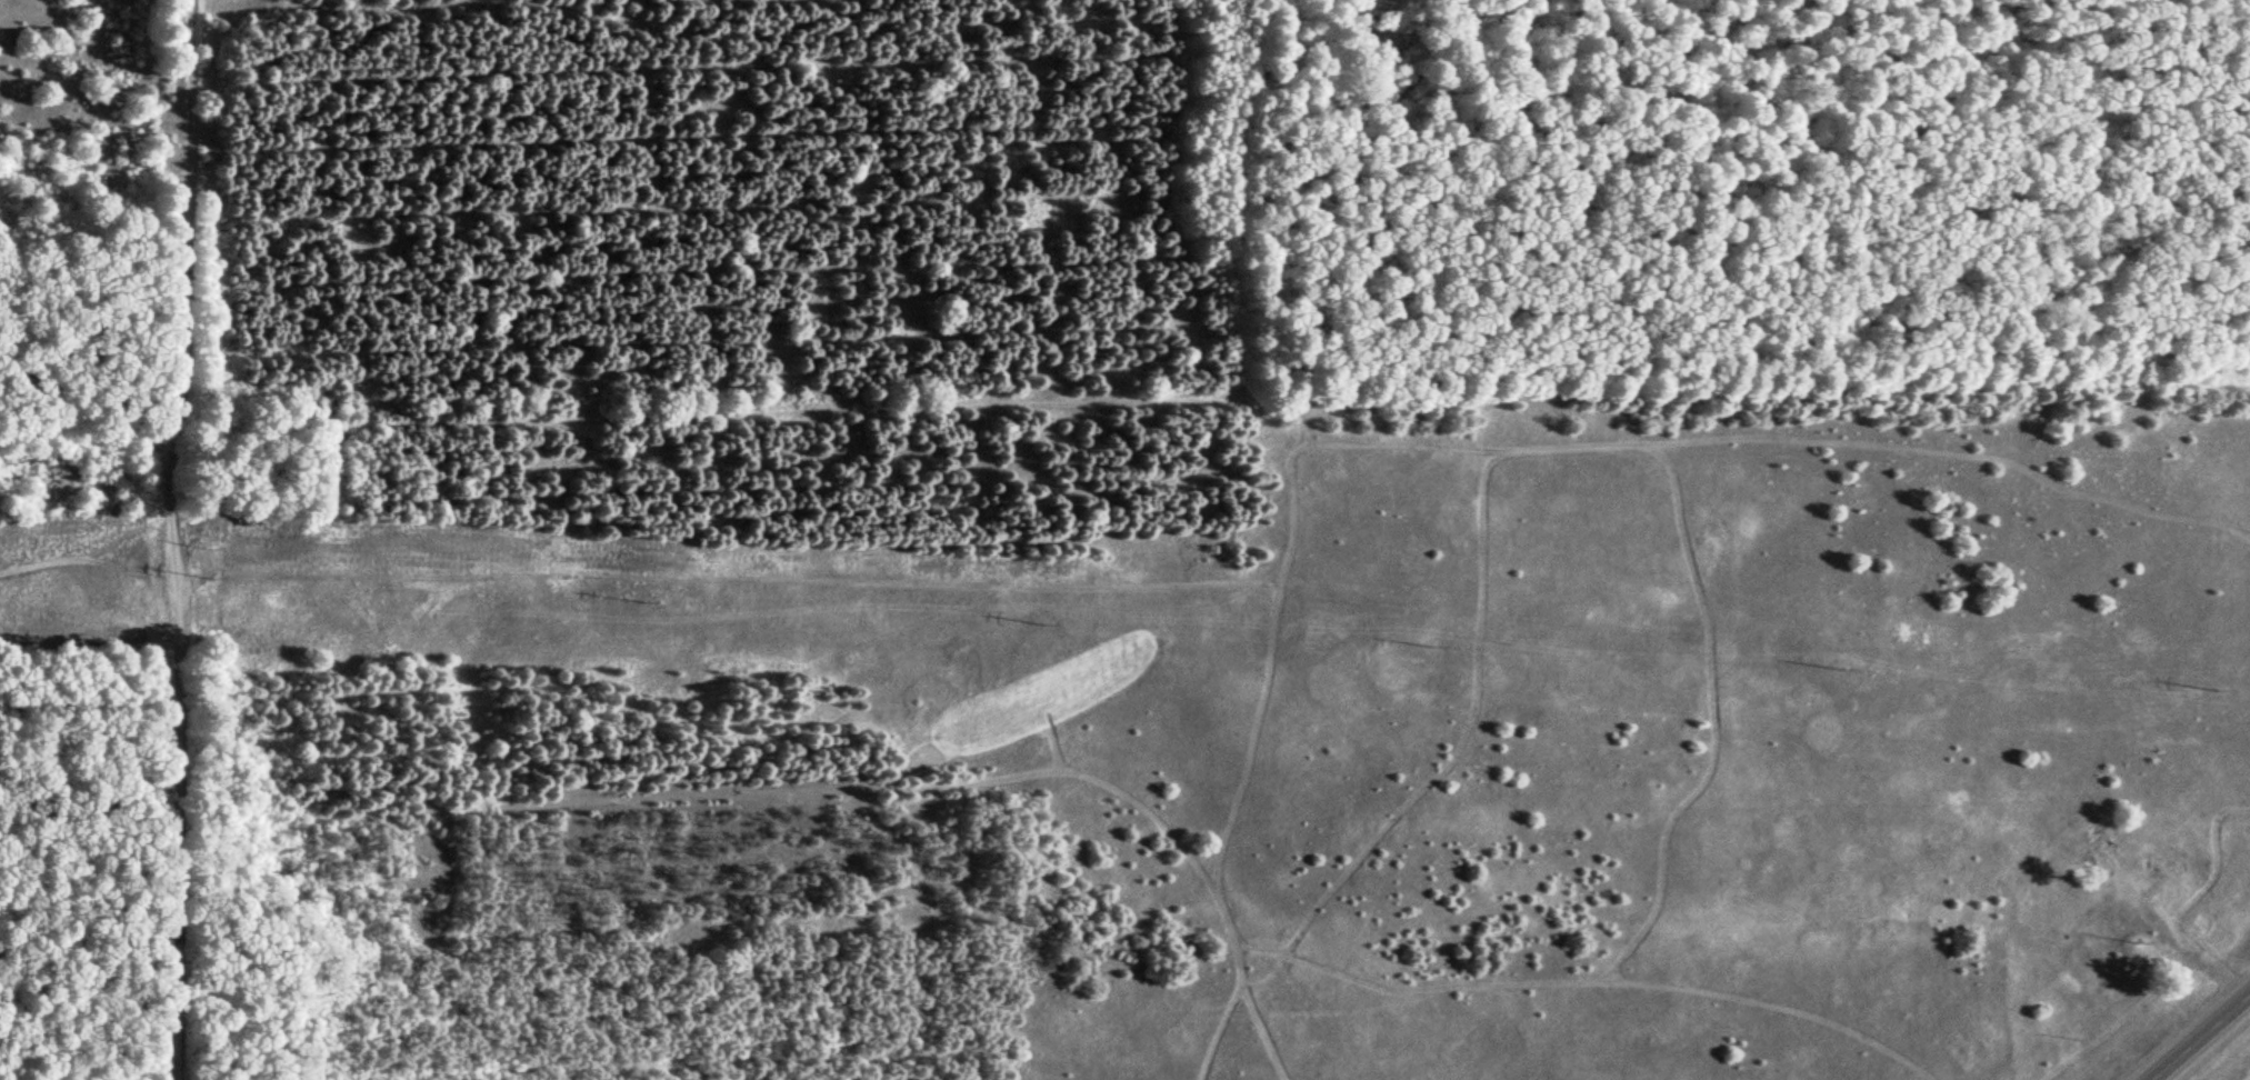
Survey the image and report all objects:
road: (173, 539)
road: (2200, 1037)

